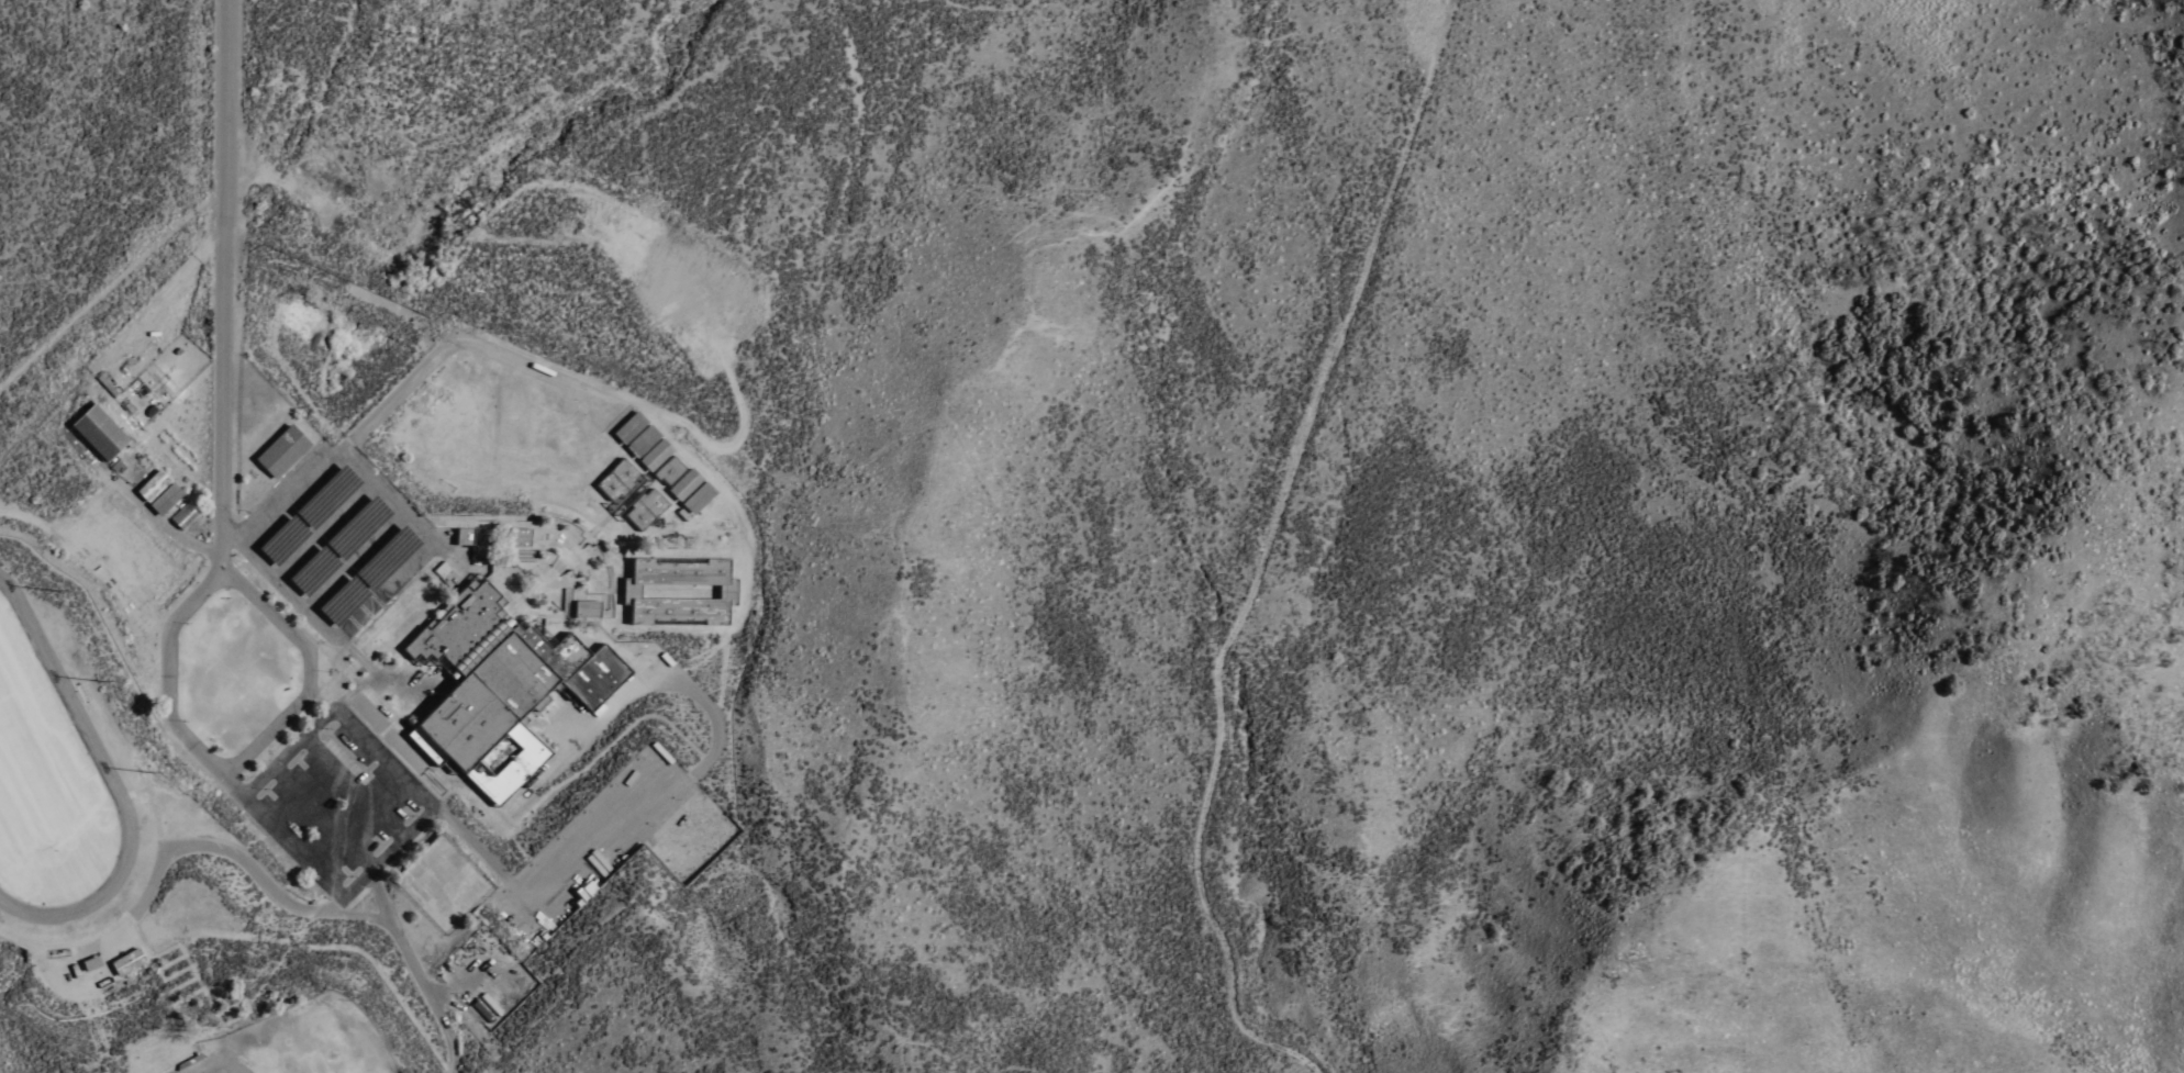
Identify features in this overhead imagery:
road: (223, 425)
building: (633, 427)
building: (101, 432)
building: (646, 440)
building: (285, 451)
building: (659, 455)
building: (672, 470)
building: (620, 480)
building: (688, 484)
building: (152, 485)
road: (388, 496)
building: (165, 498)
building: (702, 499)
road: (293, 500)
building: (649, 510)
road: (166, 529)
road: (324, 530)
building: (522, 537)
building: (479, 543)
road: (1266, 557)
road: (355, 561)
building: (441, 570)
road: (279, 583)
road: (385, 591)
building: (682, 592)
building: (588, 607)
building: (503, 686)
track: (64, 693)
road: (169, 694)
road: (291, 753)
road: (386, 758)
park: (36, 771)
road: (358, 785)
road: (156, 817)
road: (327, 817)
road: (603, 831)
road: (401, 841)
road: (296, 848)
road: (374, 884)
road: (315, 912)
road: (69, 943)
park: (304, 1046)

